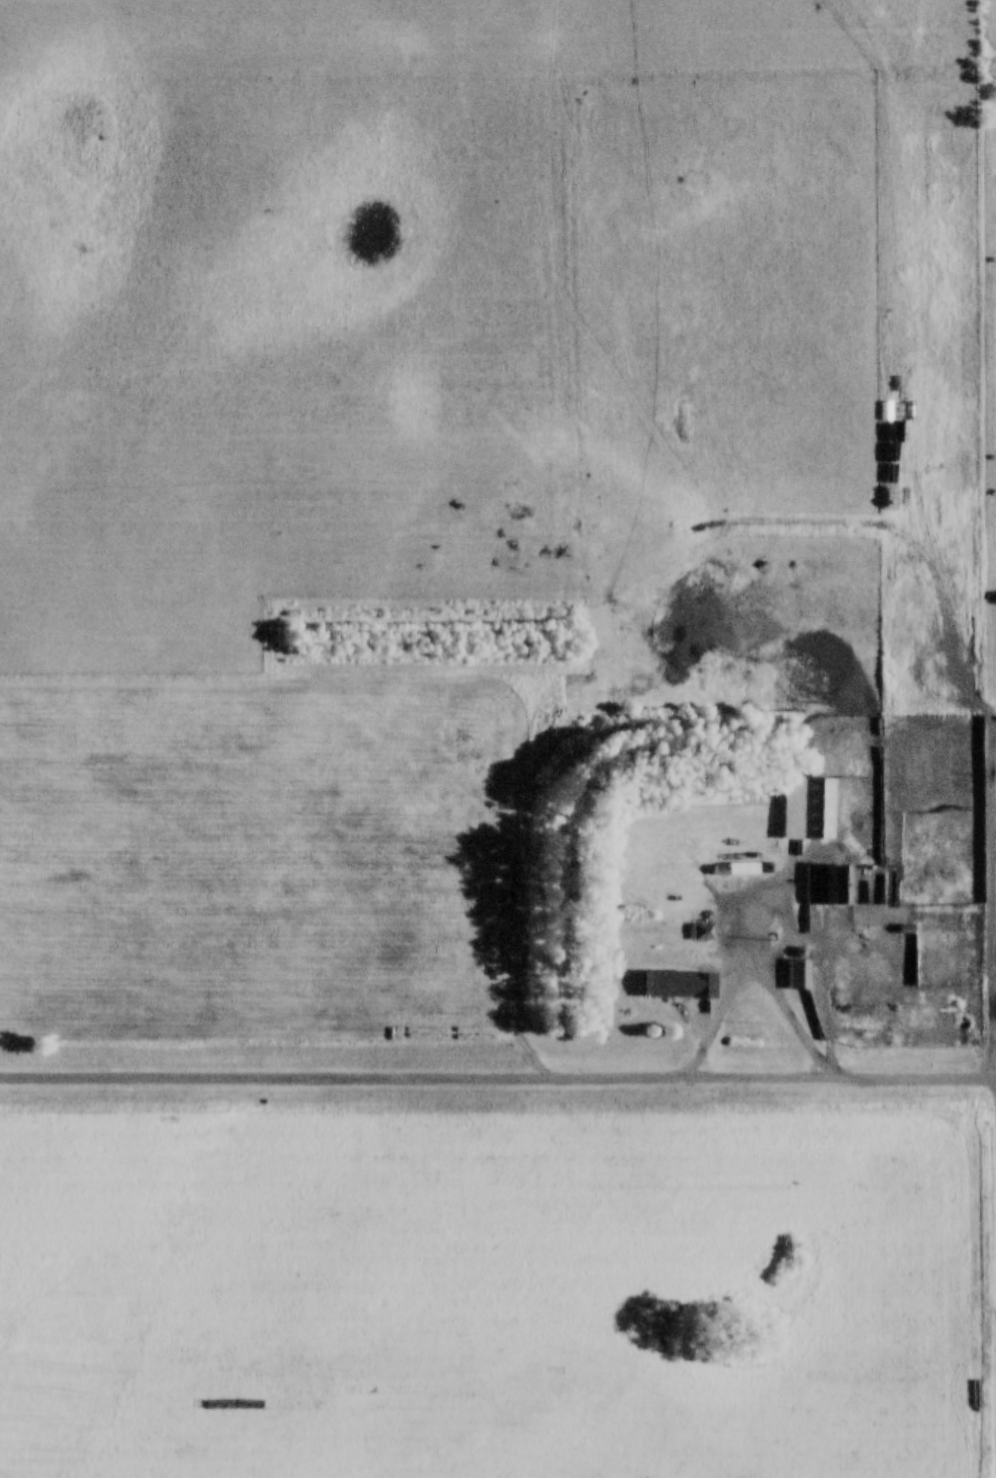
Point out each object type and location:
building: (812, 810)
road: (509, 871)
building: (701, 932)
building: (796, 974)
road: (757, 977)
building: (676, 985)
building: (928, 998)
road: (498, 1079)
road: (993, 1084)

